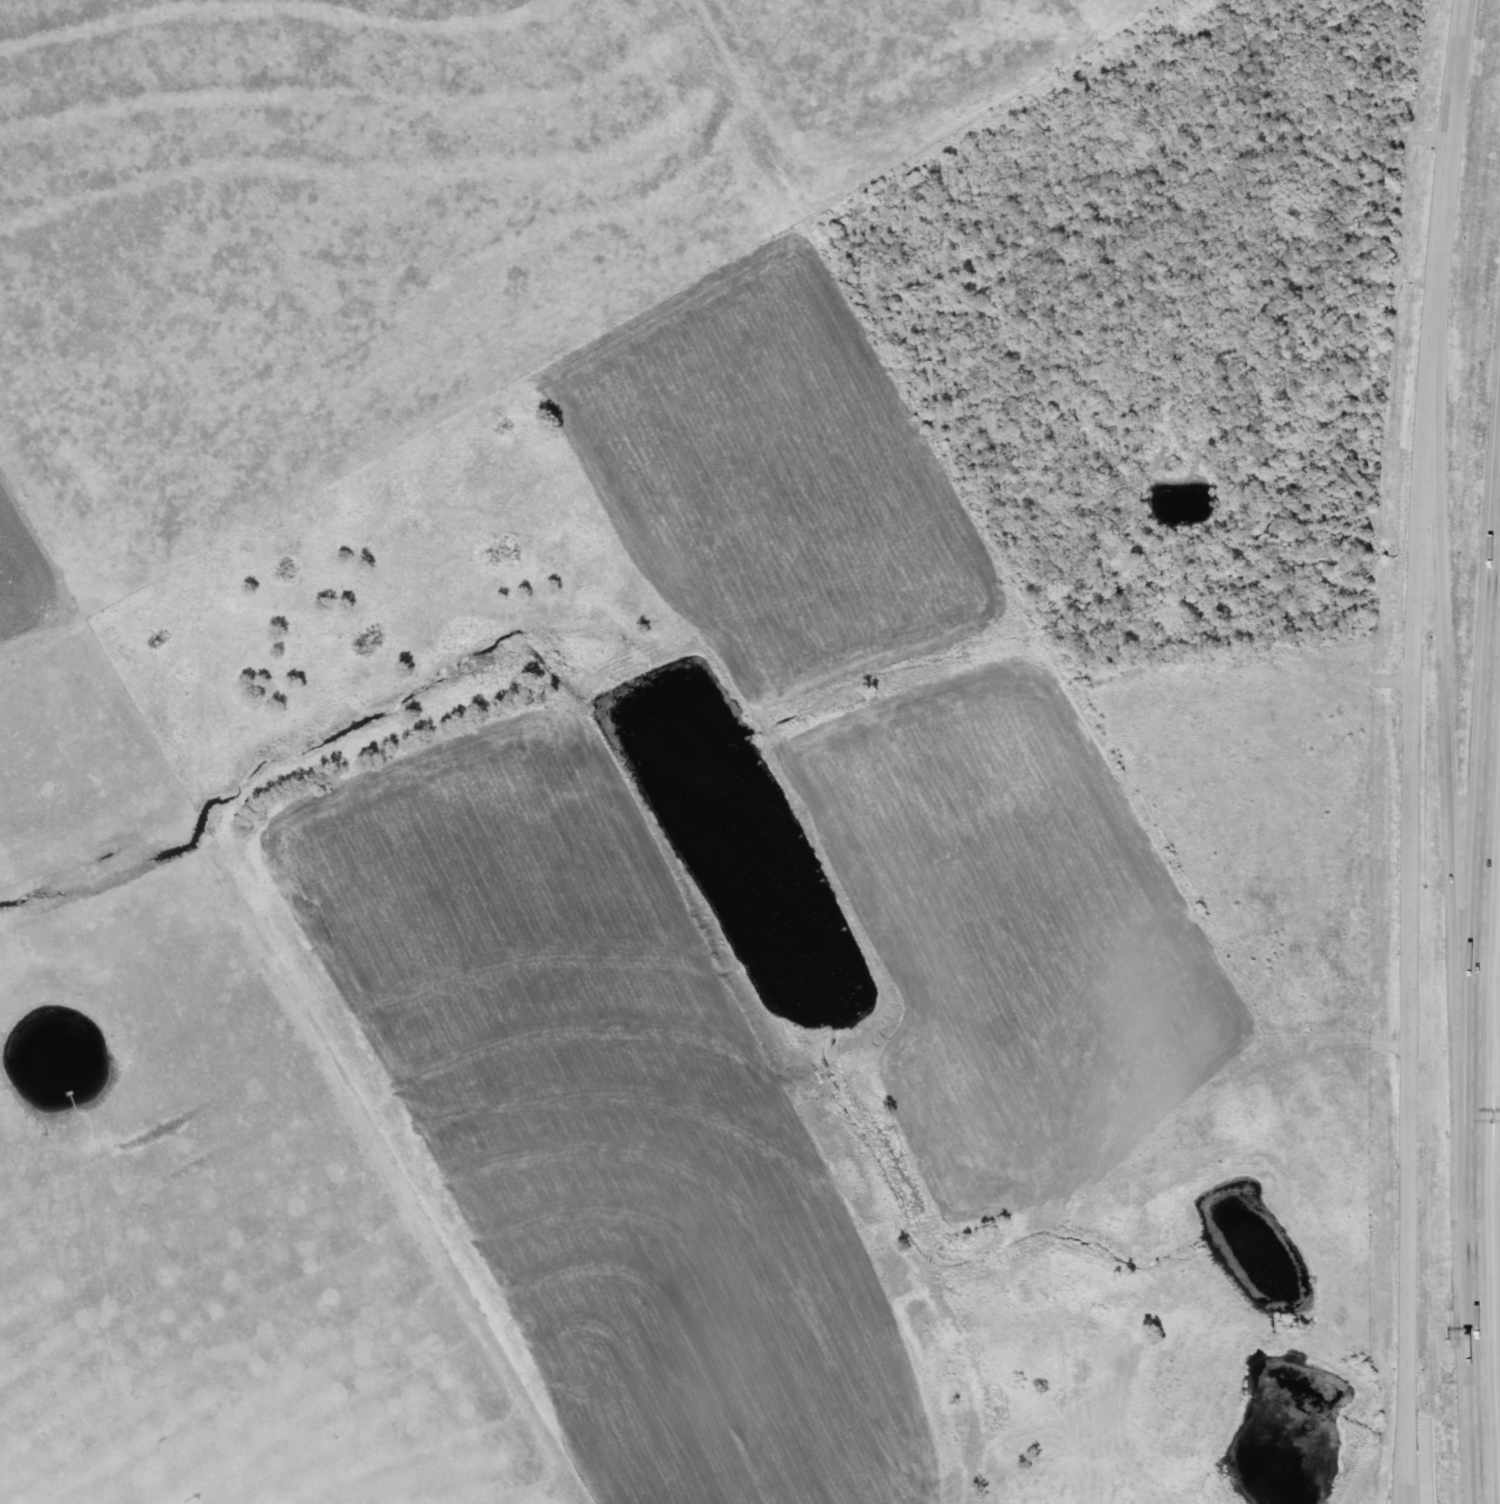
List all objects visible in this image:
road: (1413, 750)
road: (1451, 769)
road: (1484, 949)
road: (1482, 1389)
road: (1404, 1451)

